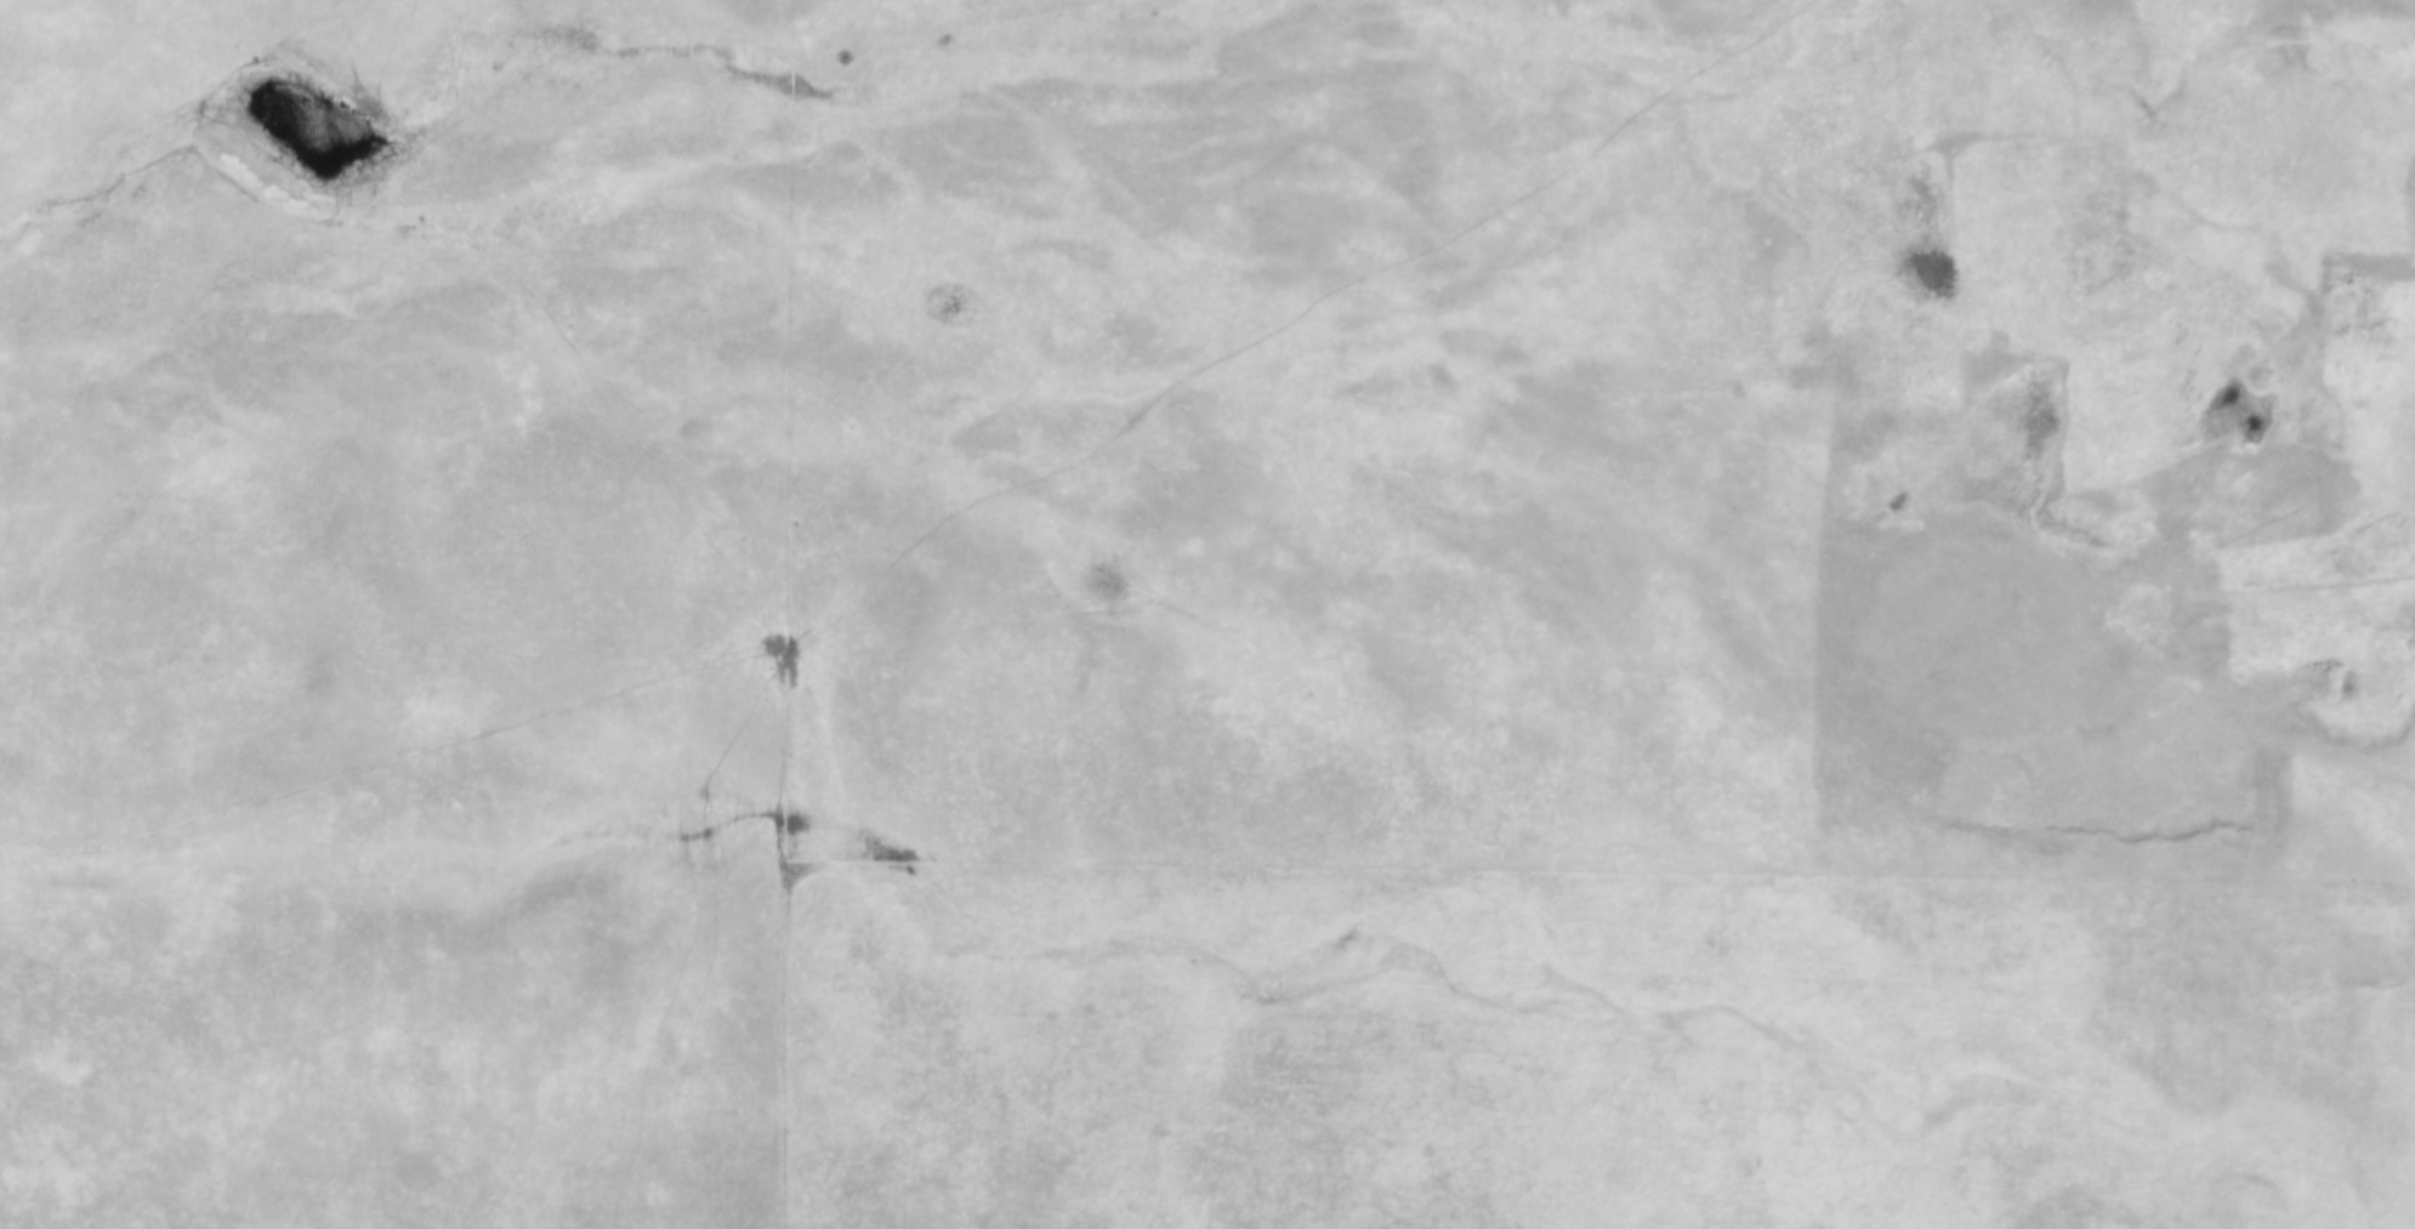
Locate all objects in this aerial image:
quarry: (2206, 427)

